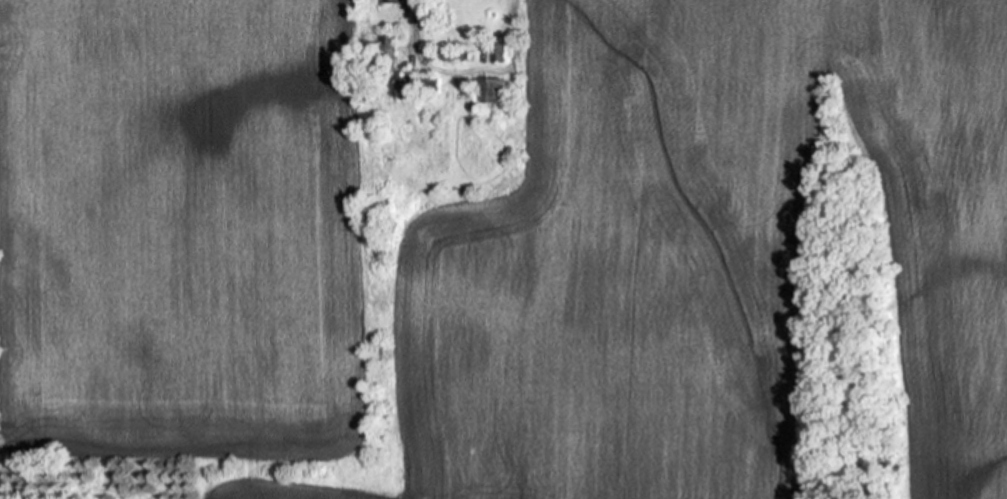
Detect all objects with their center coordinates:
building: (395, 1)
road: (409, 48)
building: (386, 52)
building: (498, 54)
building: (445, 56)
building: (415, 88)
building: (490, 91)
building: (421, 100)
building: (455, 190)

